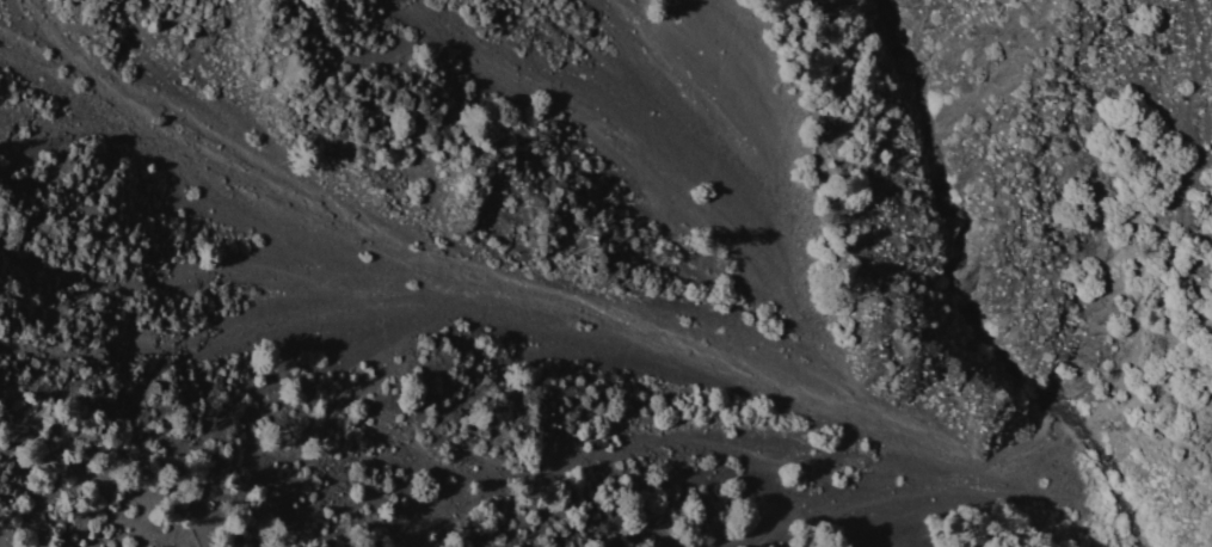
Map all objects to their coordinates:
road: (1155, 456)

